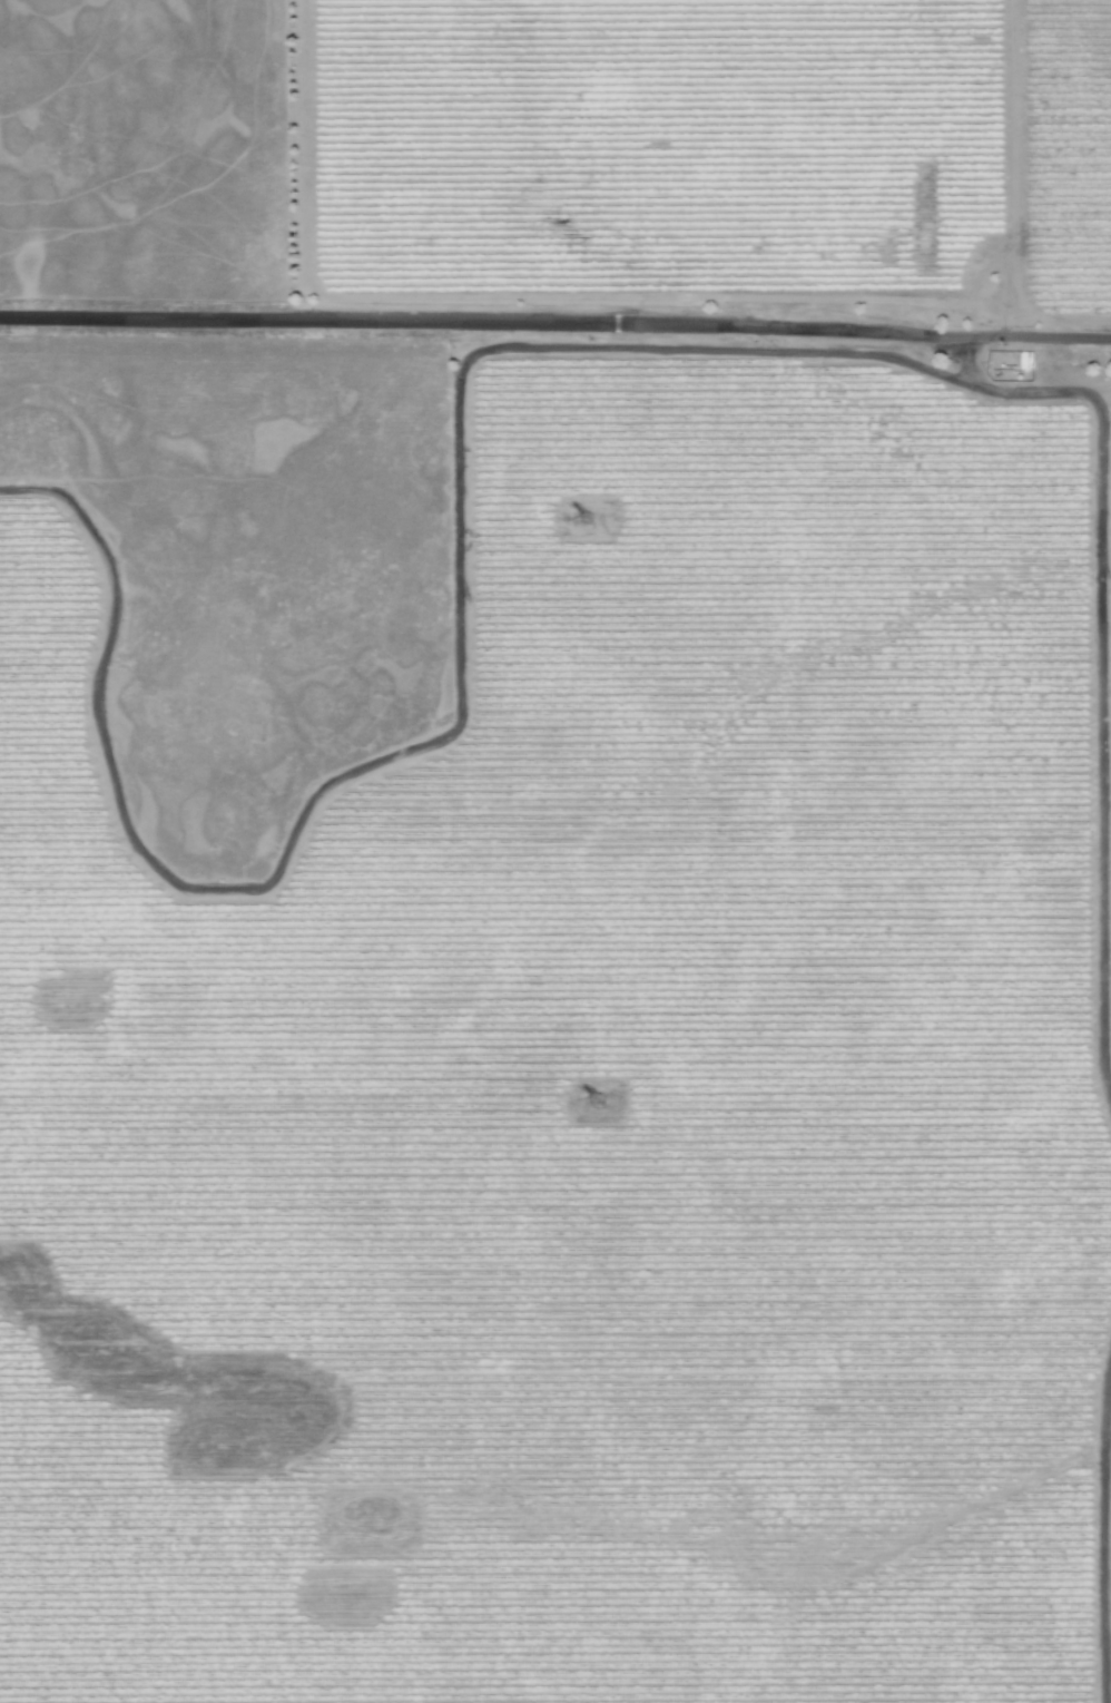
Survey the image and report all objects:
road: (555, 322)
power tower: (592, 520)
crop: (757, 785)
power tower: (601, 1099)

